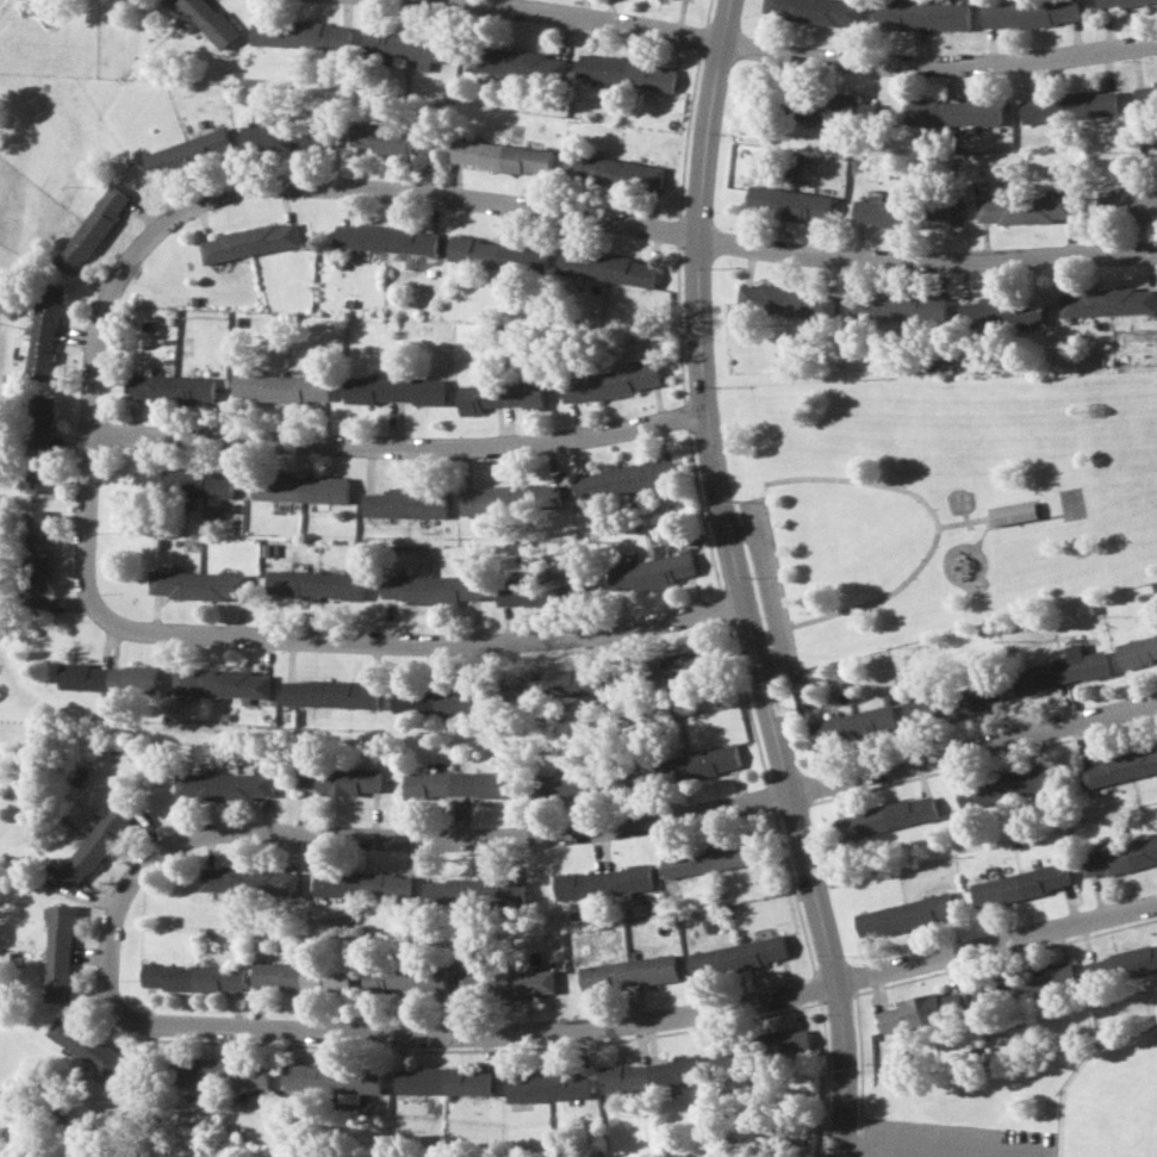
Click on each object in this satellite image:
building: (1118, 2)
building: (815, 10)
building: (1028, 12)
building: (920, 14)
building: (211, 20)
building: (301, 35)
building: (410, 46)
road: (786, 49)
building: (516, 63)
building: (626, 71)
building: (1156, 79)
building: (1145, 97)
building: (1069, 106)
building: (952, 112)
building: (286, 137)
building: (393, 139)
building: (188, 153)
building: (503, 156)
building: (612, 170)
building: (789, 203)
building: (1127, 204)
building: (1025, 209)
road: (545, 210)
building: (881, 211)
building: (93, 229)
building: (387, 238)
building: (251, 242)
building: (499, 254)
building: (607, 267)
building: (786, 300)
building: (1106, 301)
building: (898, 307)
building: (1002, 311)
building: (44, 331)
building: (610, 382)
building: (175, 387)
building: (284, 388)
building: (397, 390)
building: (502, 396)
building: (42, 444)
road: (394, 453)
building: (624, 479)
building: (185, 481)
building: (301, 489)
park: (933, 497)
building: (511, 498)
building: (408, 502)
building: (1015, 511)
road: (972, 520)
road: (1022, 520)
road: (933, 522)
building: (37, 558)
building: (652, 572)
road: (729, 581)
road: (764, 583)
building: (317, 584)
building: (198, 585)
building: (434, 587)
building: (547, 591)
road: (747, 615)
road: (782, 627)
road: (323, 646)
building: (1137, 648)
building: (673, 667)
building: (1060, 671)
building: (108, 677)
building: (222, 683)
building: (554, 683)
building: (331, 693)
building: (435, 699)
building: (953, 703)
building: (853, 724)
building: (699, 763)
building: (1118, 767)
building: (337, 779)
building: (224, 784)
building: (453, 784)
building: (573, 784)
building: (1004, 786)
building: (887, 816)
road: (564, 835)
building: (97, 844)
building: (1119, 857)
building: (710, 858)
building: (250, 879)
building: (604, 882)
building: (363, 884)
building: (1020, 884)
building: (474, 891)
building: (904, 914)
building: (60, 953)
building: (738, 956)
building: (1122, 964)
building: (630, 971)
building: (300, 975)
building: (193, 977)
building: (405, 977)
building: (527, 983)
building: (1025, 983)
building: (472, 984)
road: (642, 1026)
building: (1002, 1038)
building: (786, 1041)
building: (87, 1045)
building: (732, 1053)
building: (224, 1072)
building: (651, 1074)
building: (330, 1080)
building: (443, 1081)
building: (549, 1086)
park: (1114, 1100)
park: (1021, 1106)

